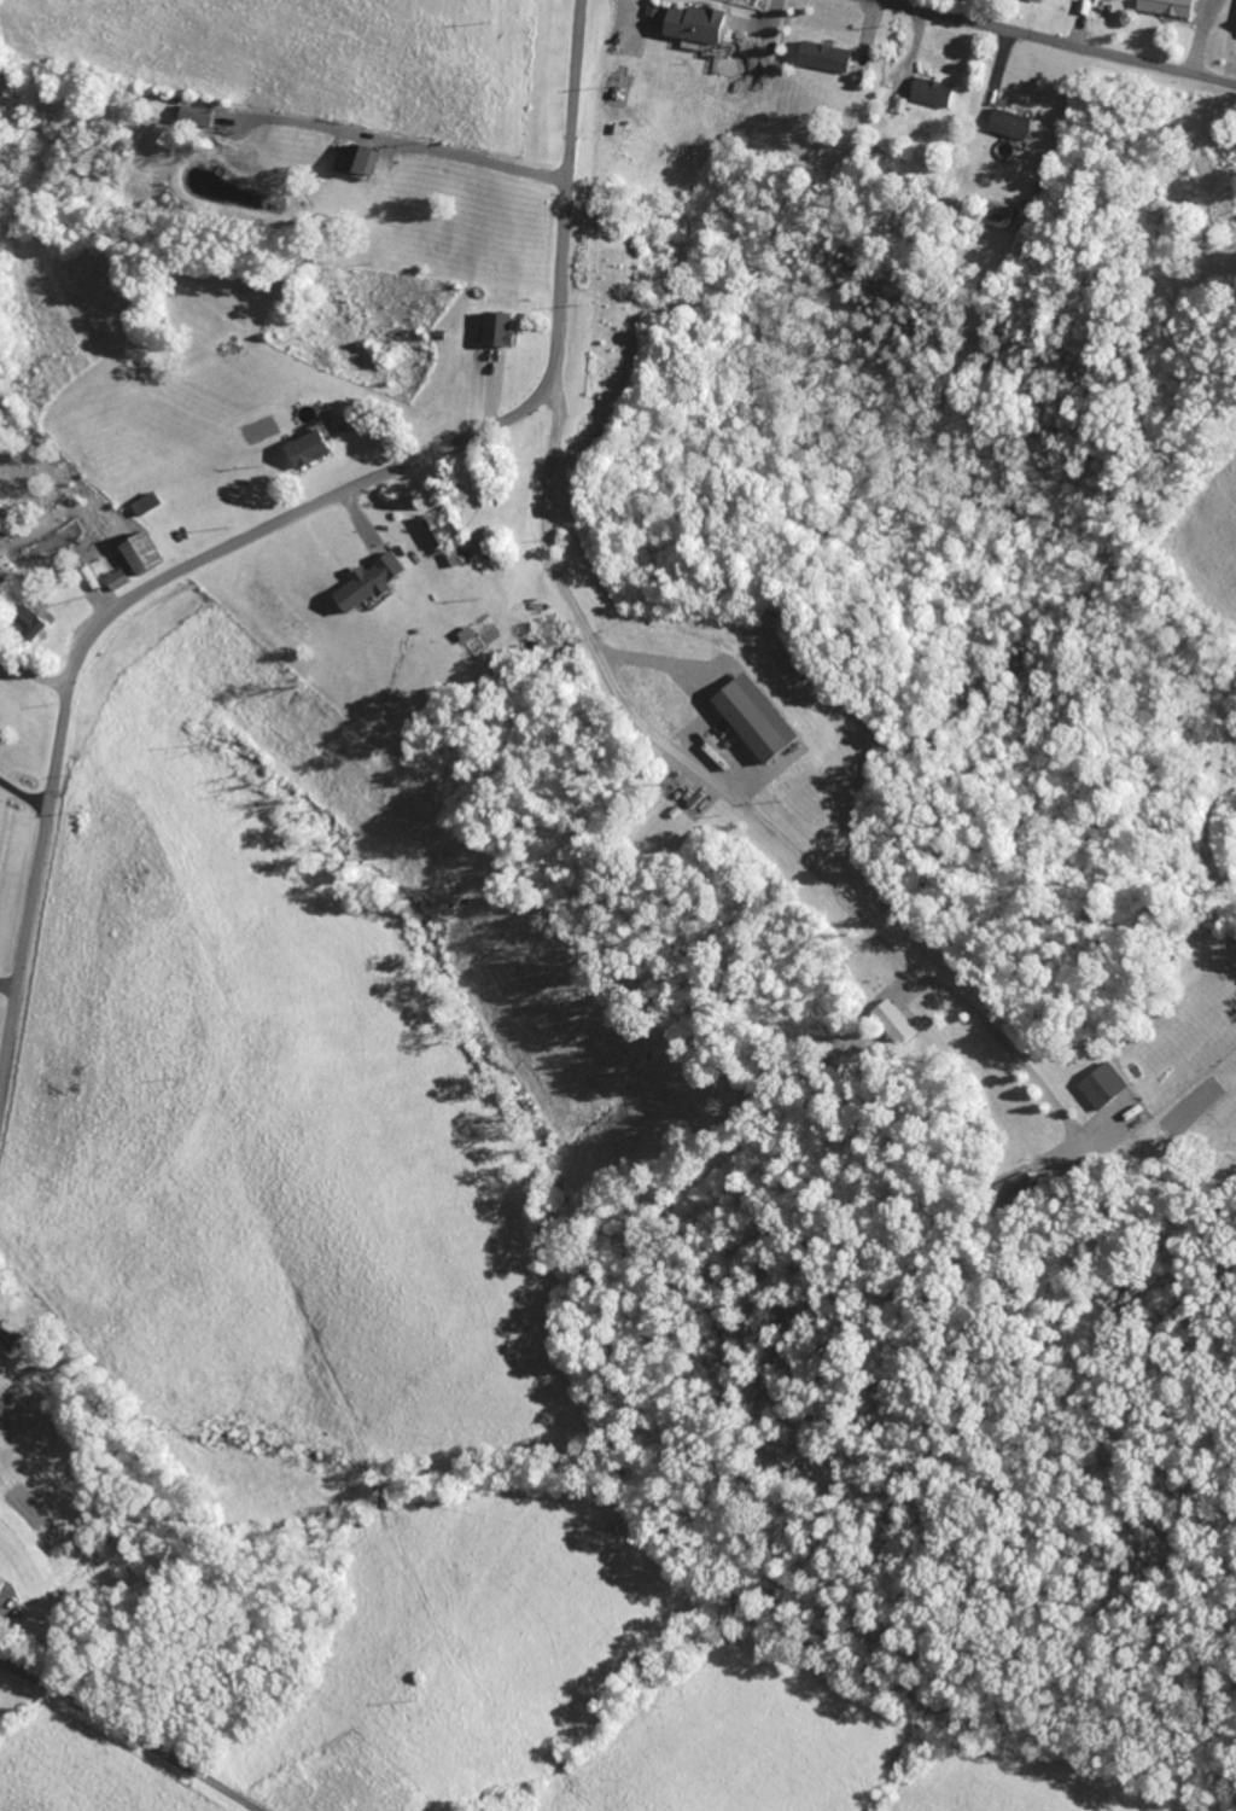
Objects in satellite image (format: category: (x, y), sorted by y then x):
building: (1173, 6)
building: (699, 23)
road: (1054, 42)
building: (828, 56)
building: (937, 91)
building: (197, 116)
building: (1014, 123)
road: (414, 144)
building: (361, 158)
building: (1002, 214)
building: (503, 327)
building: (313, 448)
road: (272, 528)
building: (436, 532)
building: (146, 553)
building: (121, 580)
building: (372, 582)
building: (39, 623)
road: (36, 672)
building: (763, 718)
road: (25, 794)
road: (733, 802)
building: (681, 803)
building: (897, 1021)
building: (1108, 1087)
building: (1021, 1186)
park: (1, 1264)
building: (4, 1584)
road: (128, 1734)

